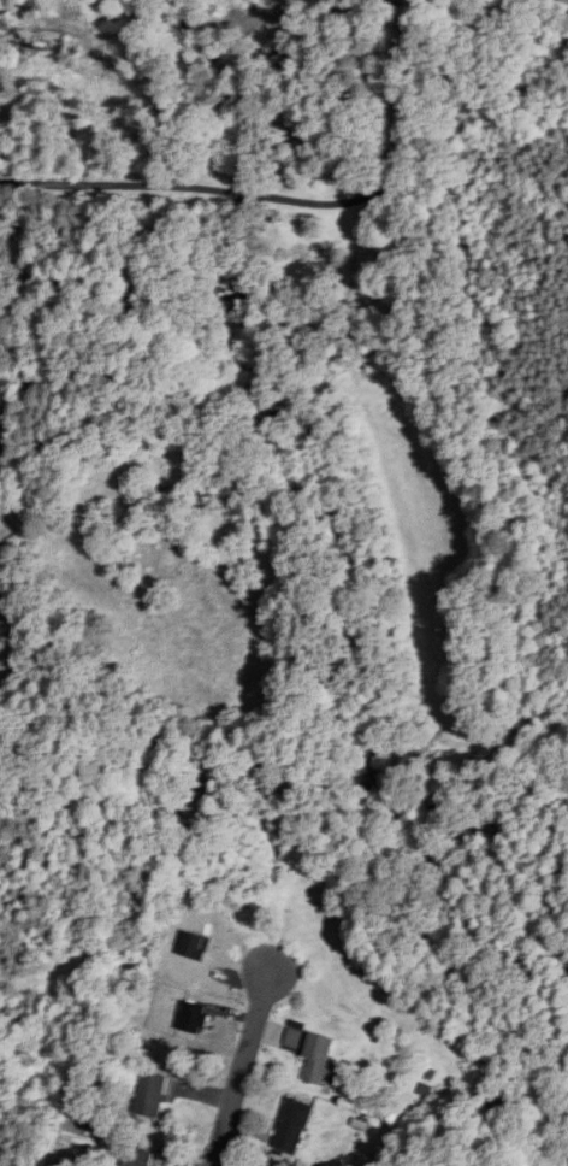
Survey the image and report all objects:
road: (290, 208)
road: (245, 1054)
building: (319, 1059)
building: (153, 1094)
building: (294, 1124)
building: (136, 1156)

